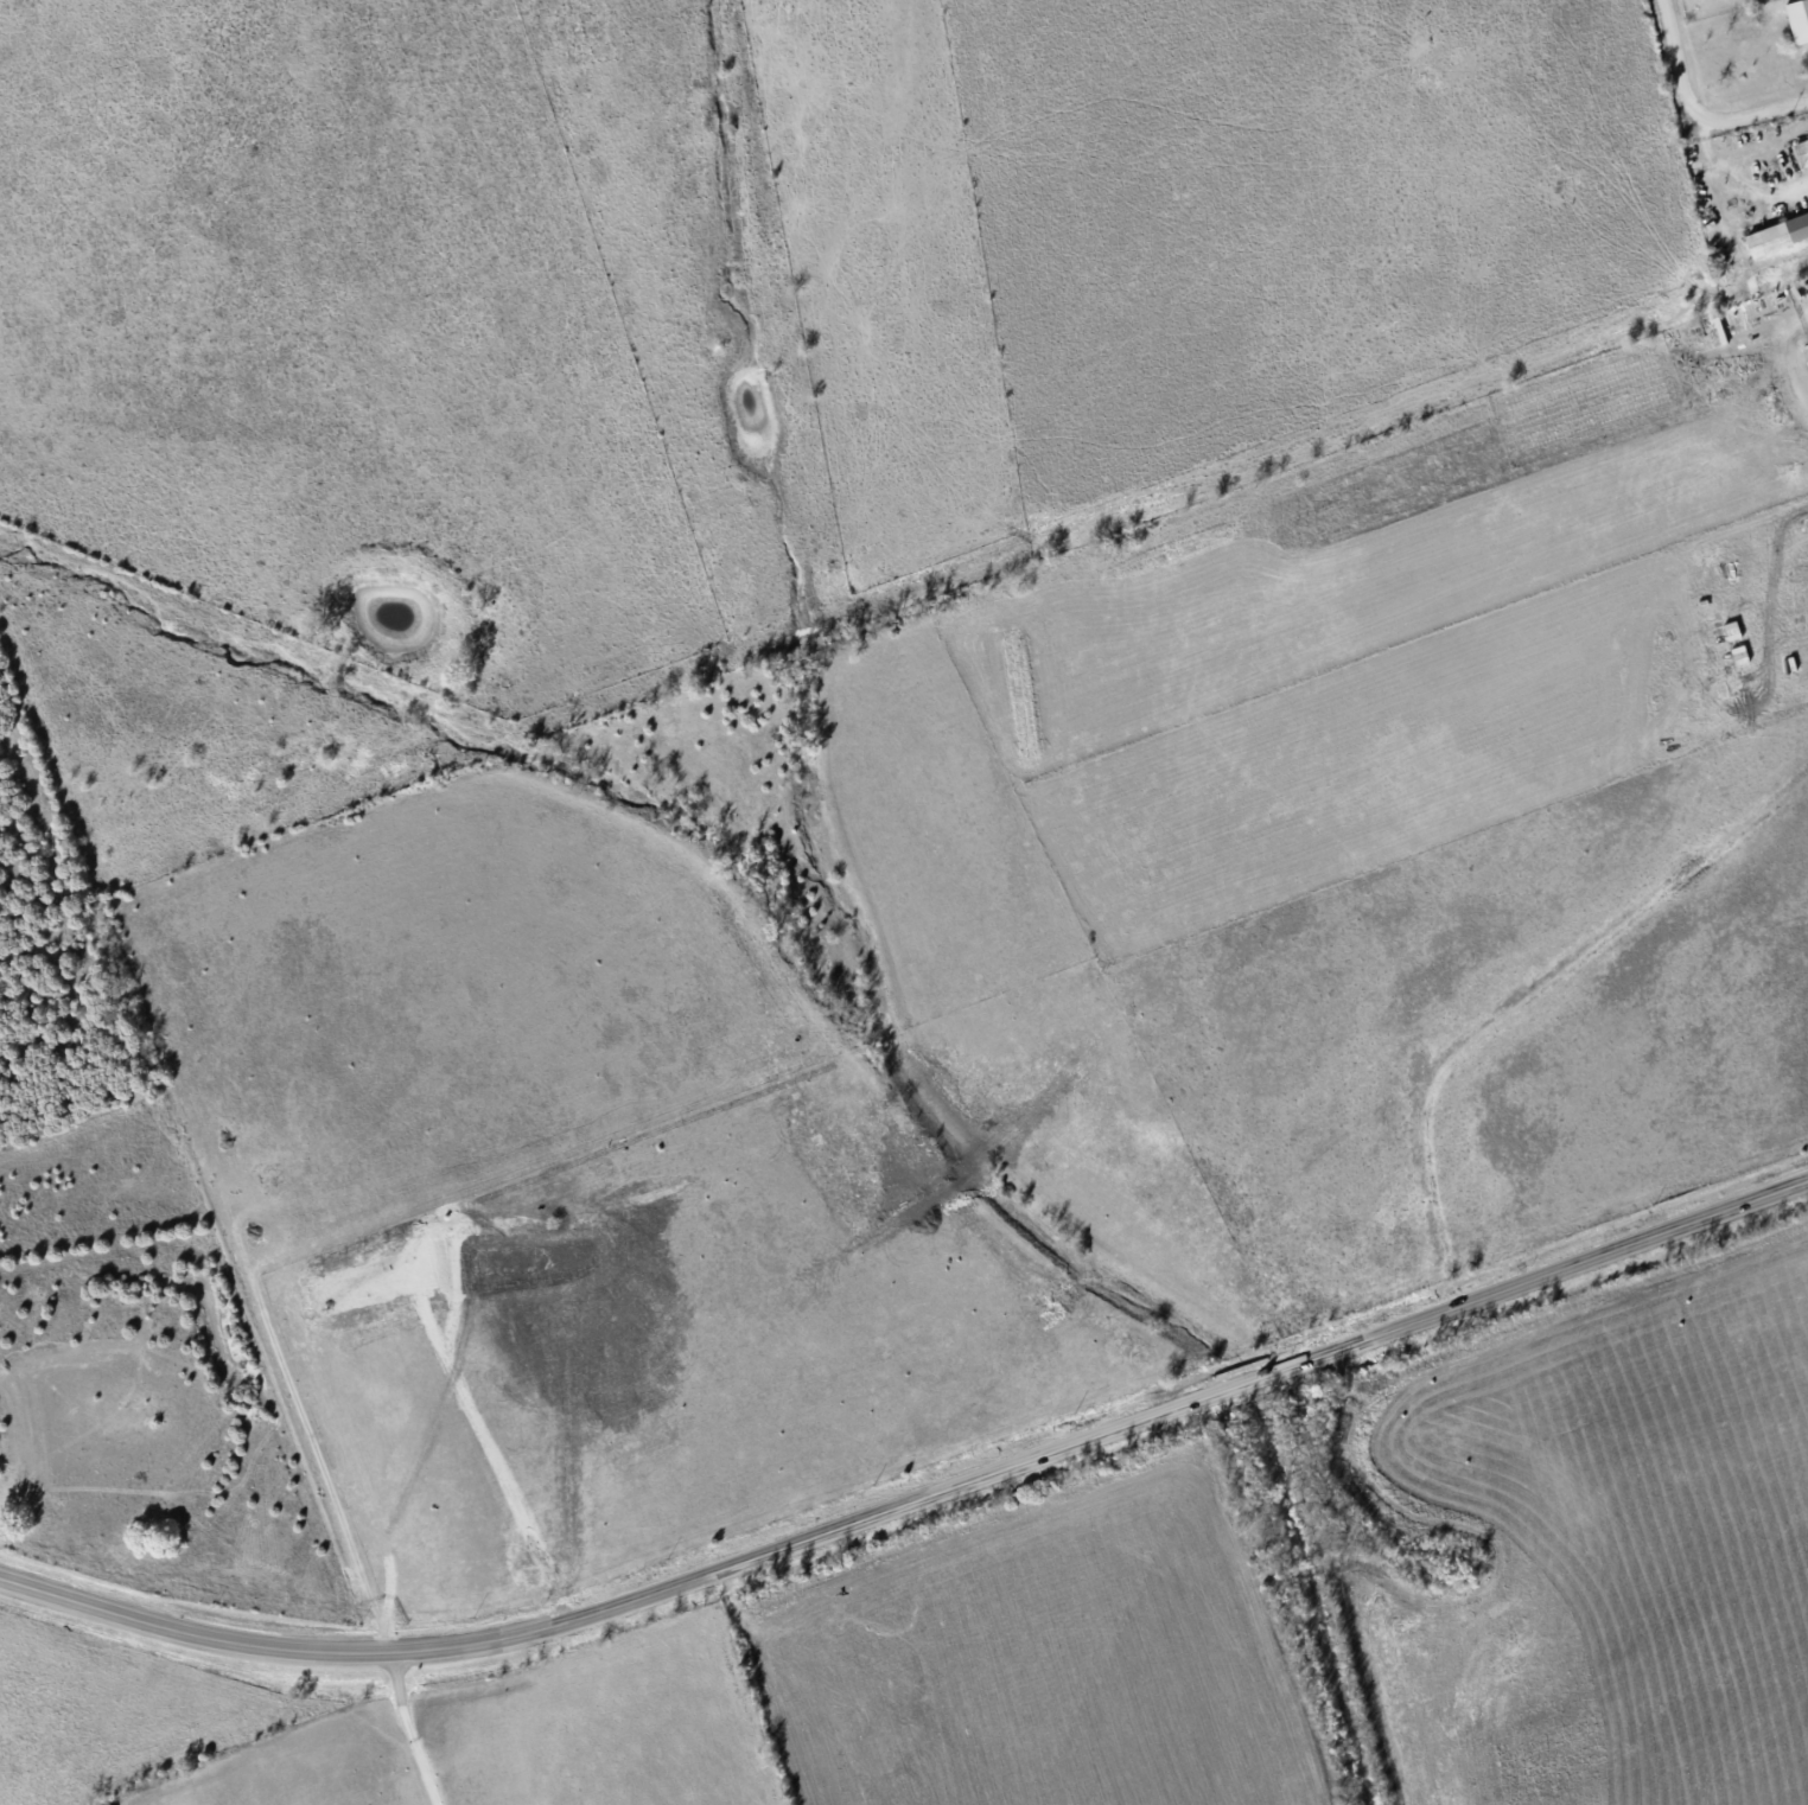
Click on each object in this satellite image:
building: (1800, 18)
road: (1696, 110)
building: (1797, 158)
building: (1807, 209)
building: (1774, 241)
road: (916, 1501)
road: (418, 1730)

